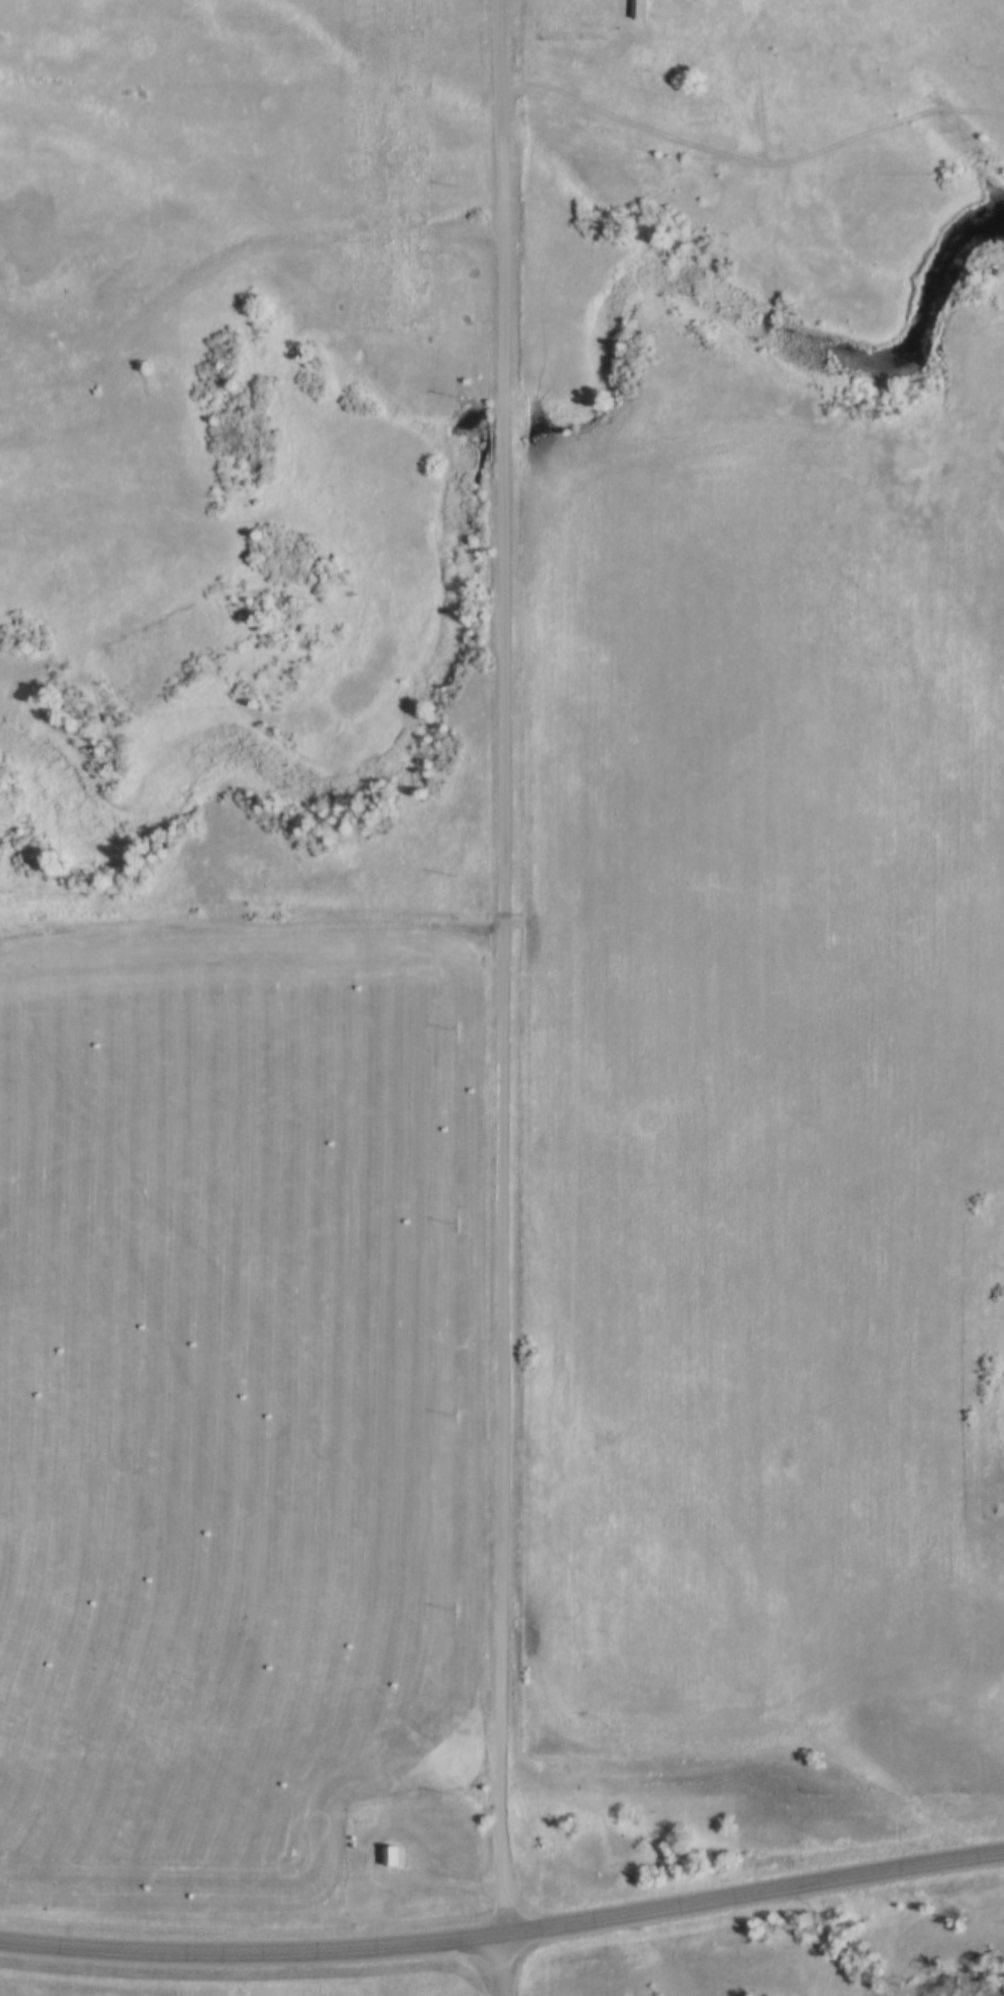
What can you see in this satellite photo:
building: (635, 9)
road: (278, 246)
road: (248, 929)
road: (495, 968)
building: (387, 1855)
road: (750, 1896)
road: (248, 1954)
road: (498, 1966)

